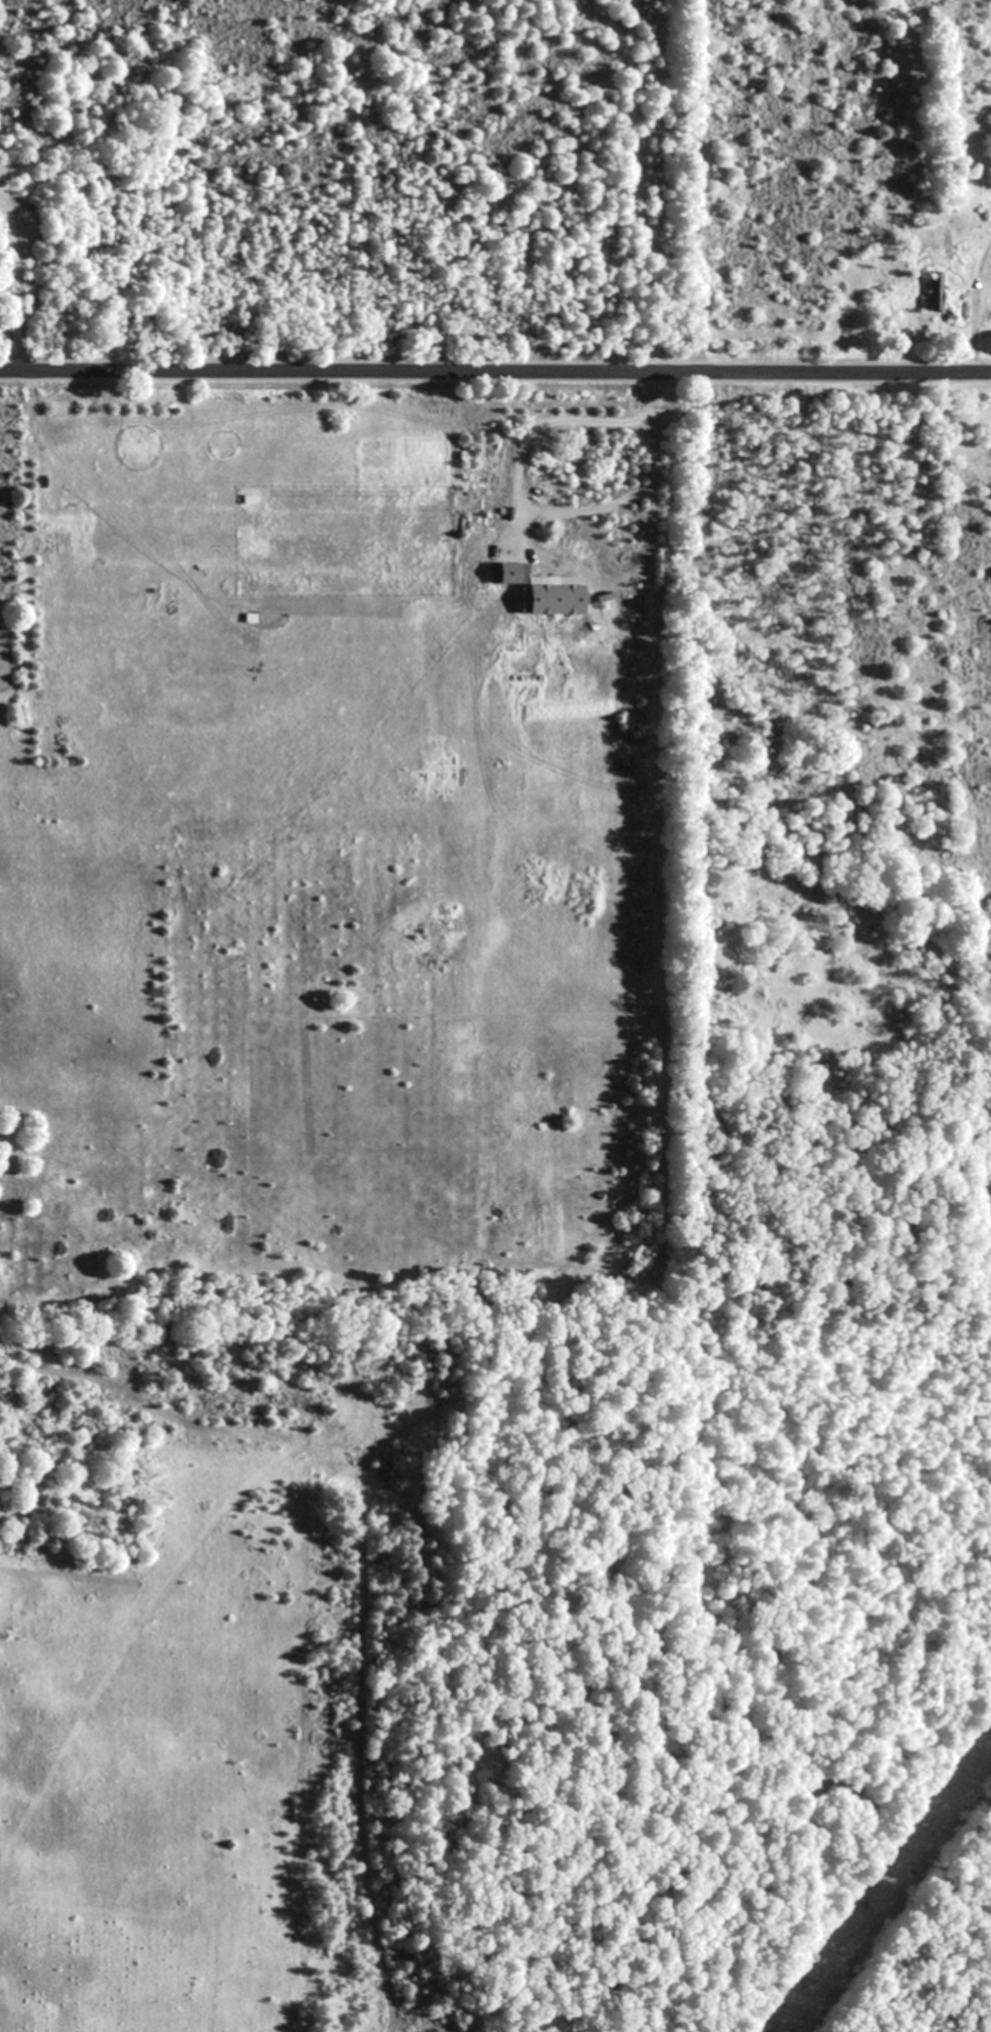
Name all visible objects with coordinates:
road: (639, 186)
road: (17, 285)
building: (933, 292)
road: (495, 372)
power tower: (885, 1889)

